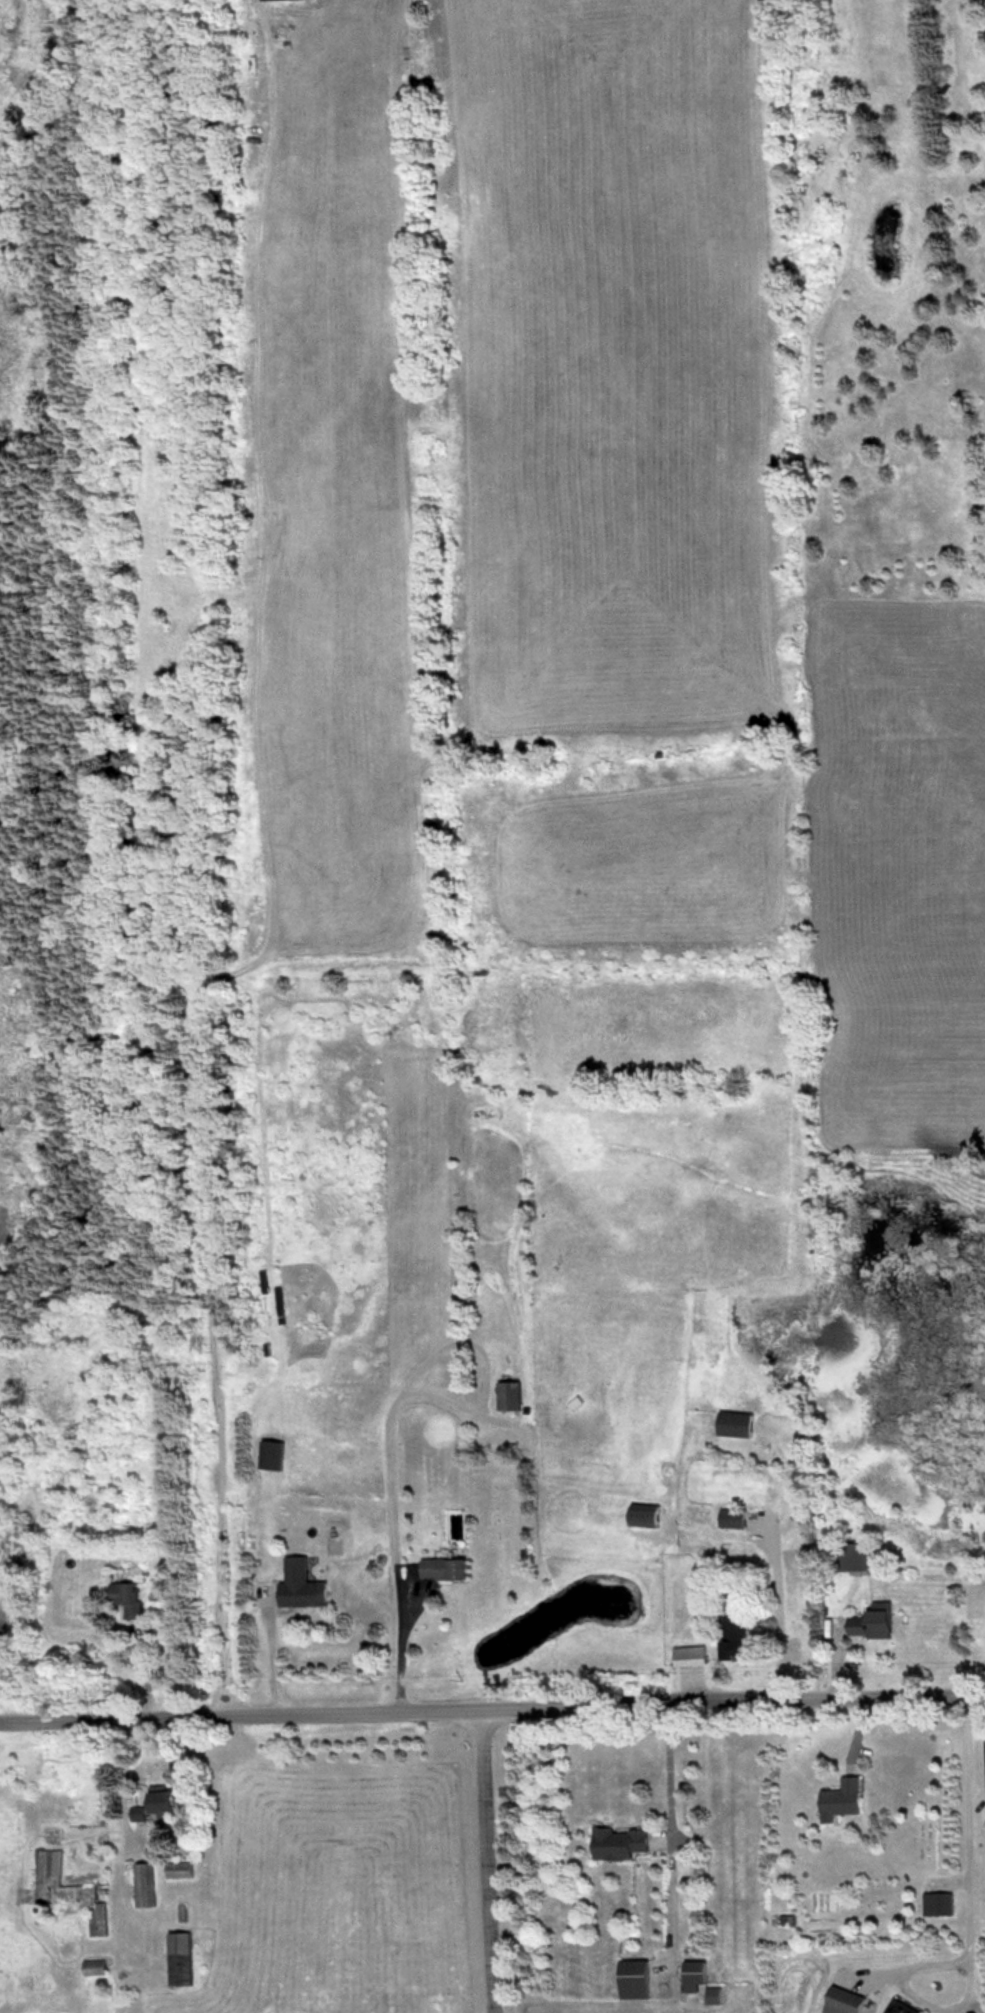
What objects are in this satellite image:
road: (261, 876)
building: (507, 1394)
building: (735, 1424)
road: (382, 1426)
building: (268, 1454)
building: (643, 1517)
building: (732, 1518)
building: (853, 1556)
building: (442, 1568)
building: (297, 1585)
building: (125, 1598)
road: (777, 1615)
building: (872, 1621)
building: (734, 1639)
building: (688, 1656)
road: (264, 1657)
road: (492, 1707)
road: (983, 1722)
road: (116, 1788)
building: (841, 1800)
building: (162, 1801)
road: (672, 1824)
building: (621, 1842)
road: (485, 1860)
building: (178, 1870)
building: (144, 1885)
building: (68, 1893)
building: (937, 1903)
road: (965, 1926)
building: (180, 1958)
building: (95, 1966)
building: (694, 1975)
building: (634, 1978)
building: (713, 1995)
building: (844, 2002)
building: (900, 2008)

